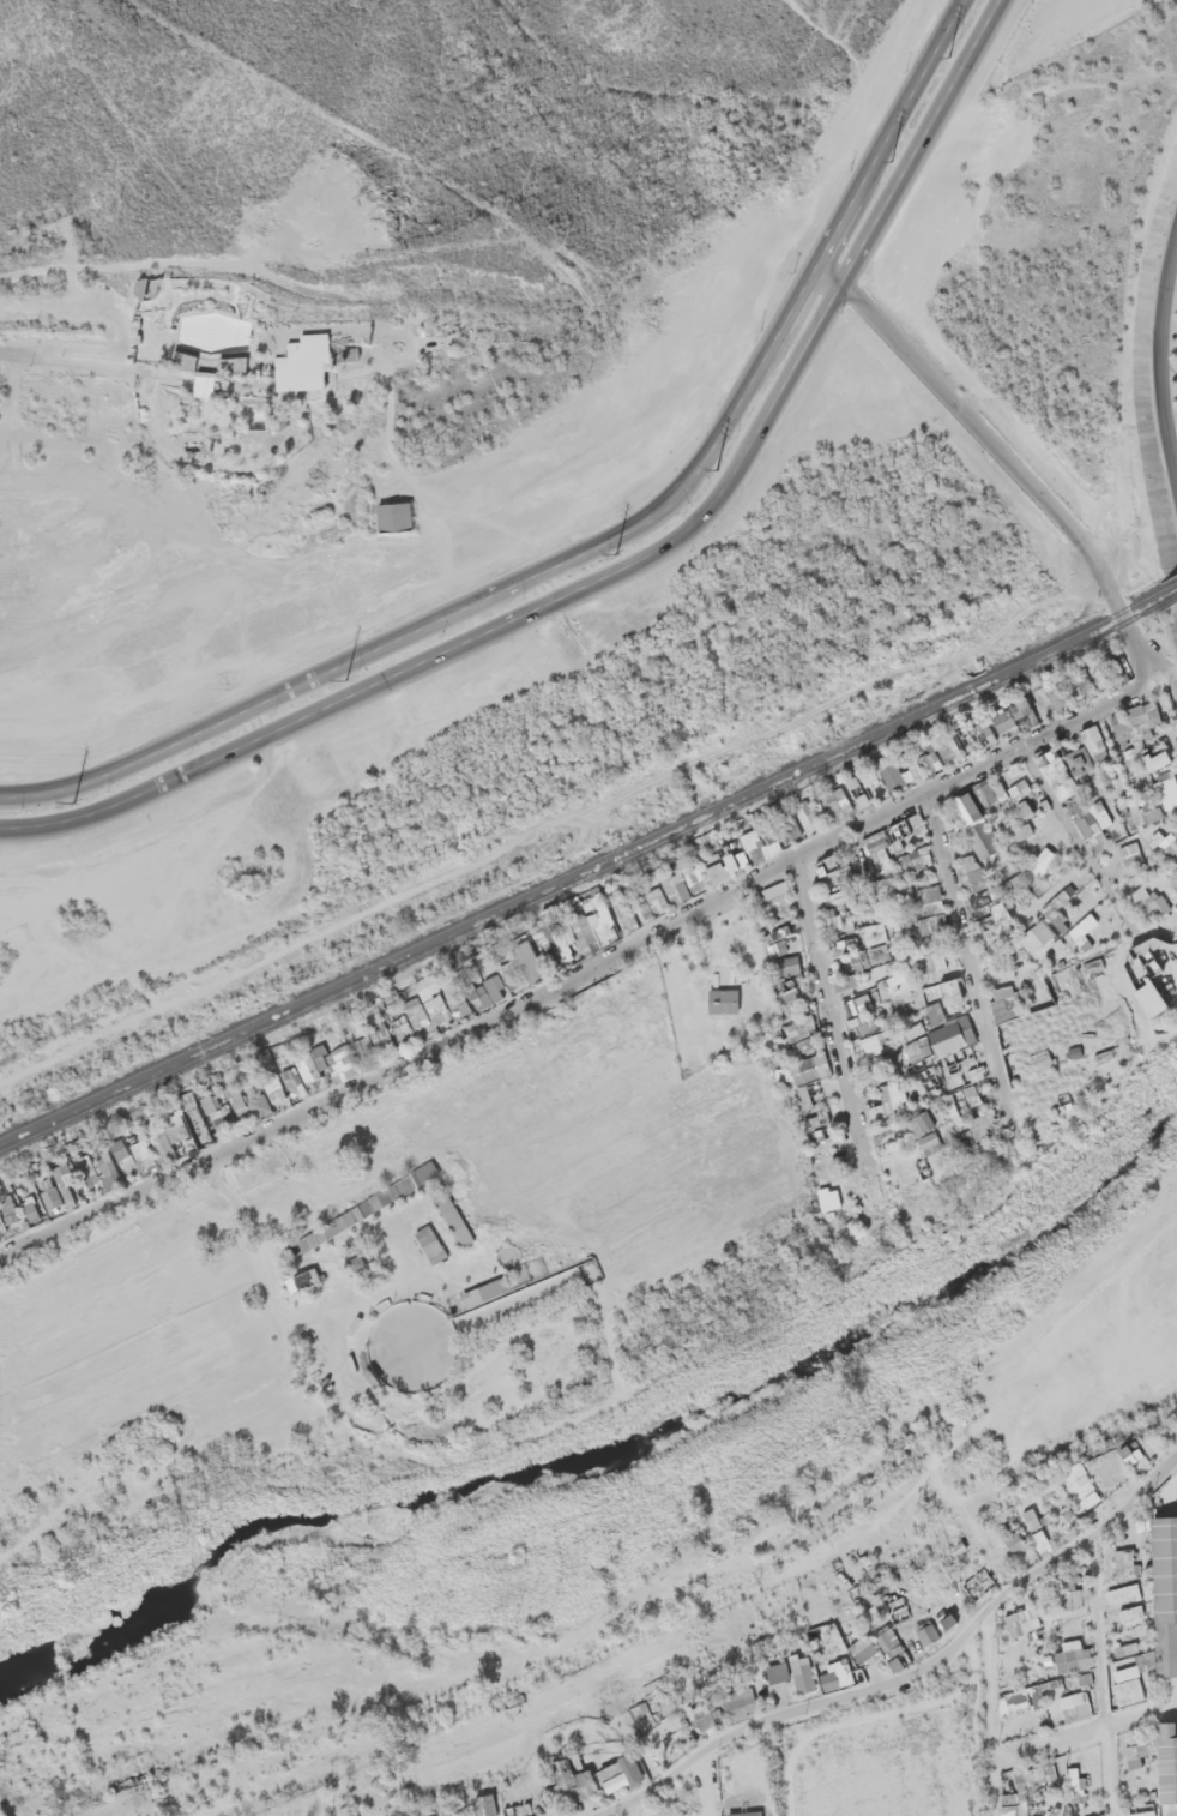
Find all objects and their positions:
river: (611, 1461)

